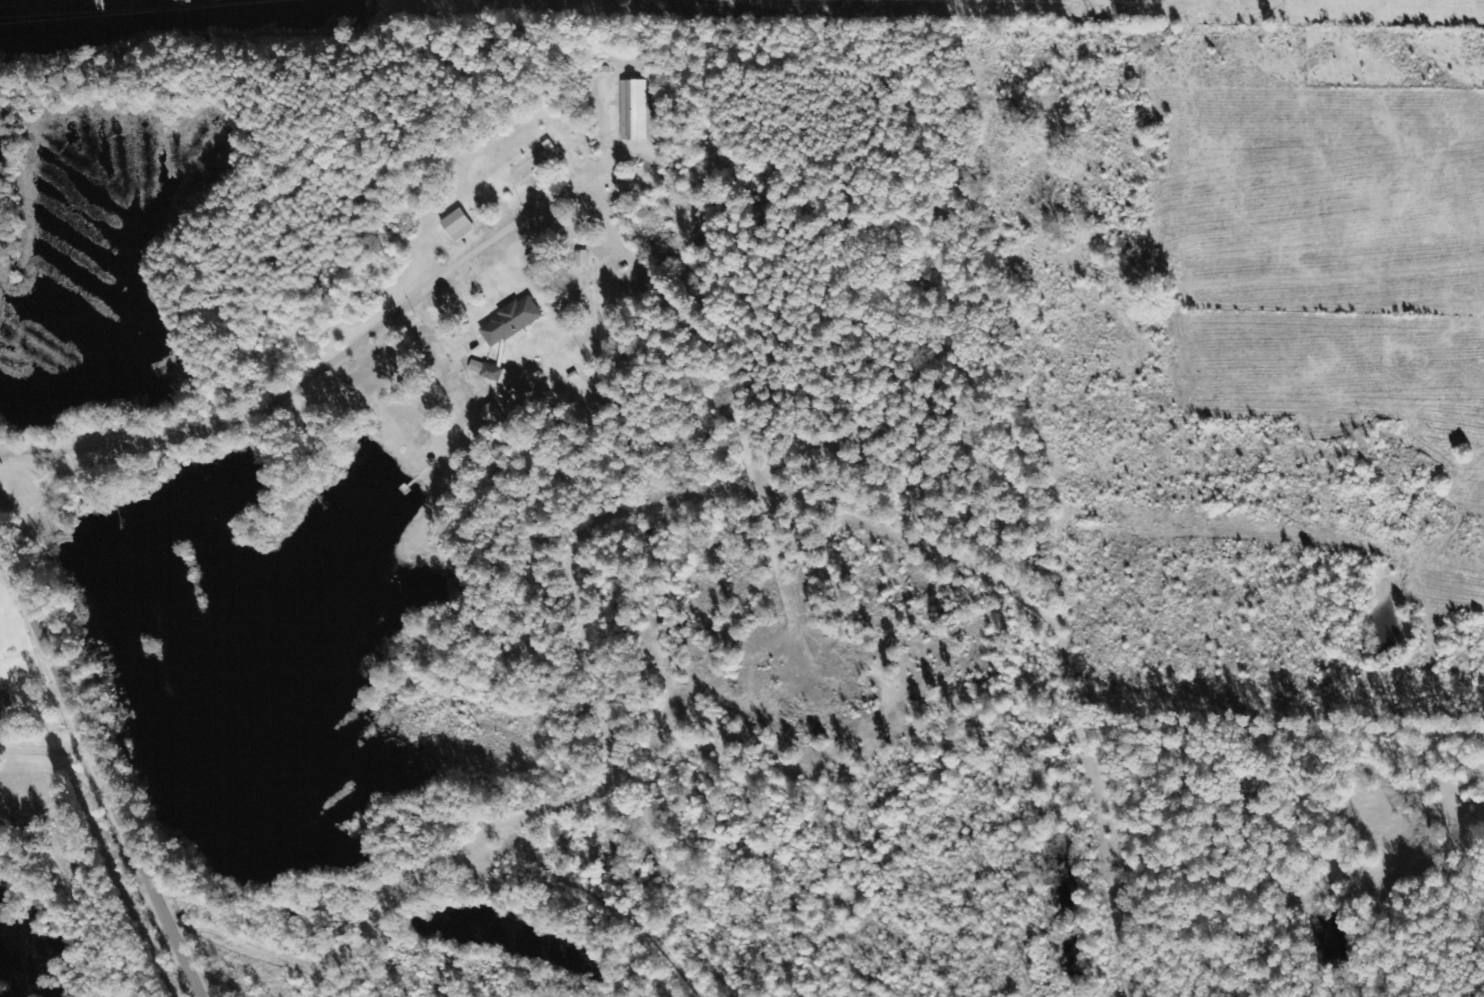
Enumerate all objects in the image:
building: (631, 107)
building: (457, 225)
building: (510, 322)
building: (489, 372)
building: (489, 415)
road: (355, 518)
road: (36, 688)
building: (5, 703)
road: (103, 761)

